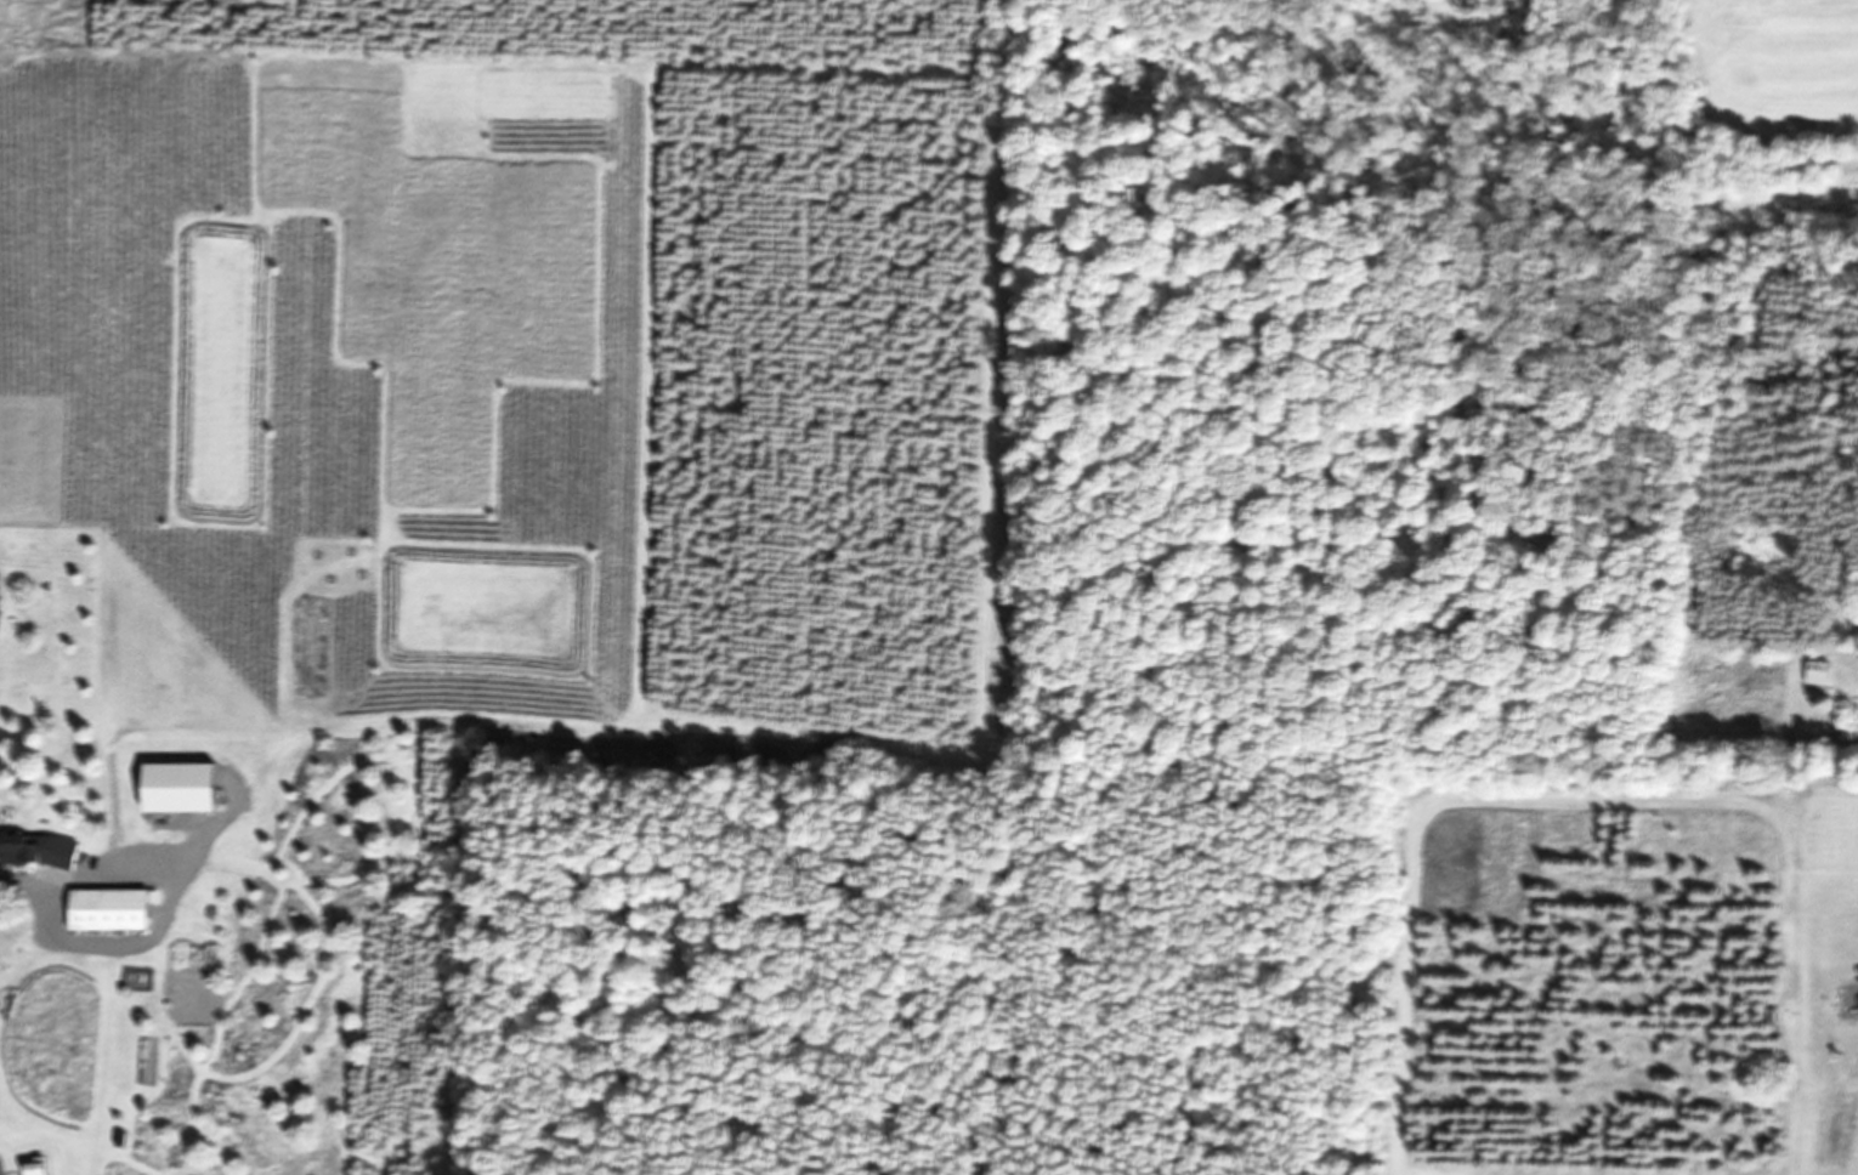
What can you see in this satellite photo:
building: (0, 606)
building: (188, 785)
building: (41, 848)
building: (115, 908)
building: (43, 1169)

